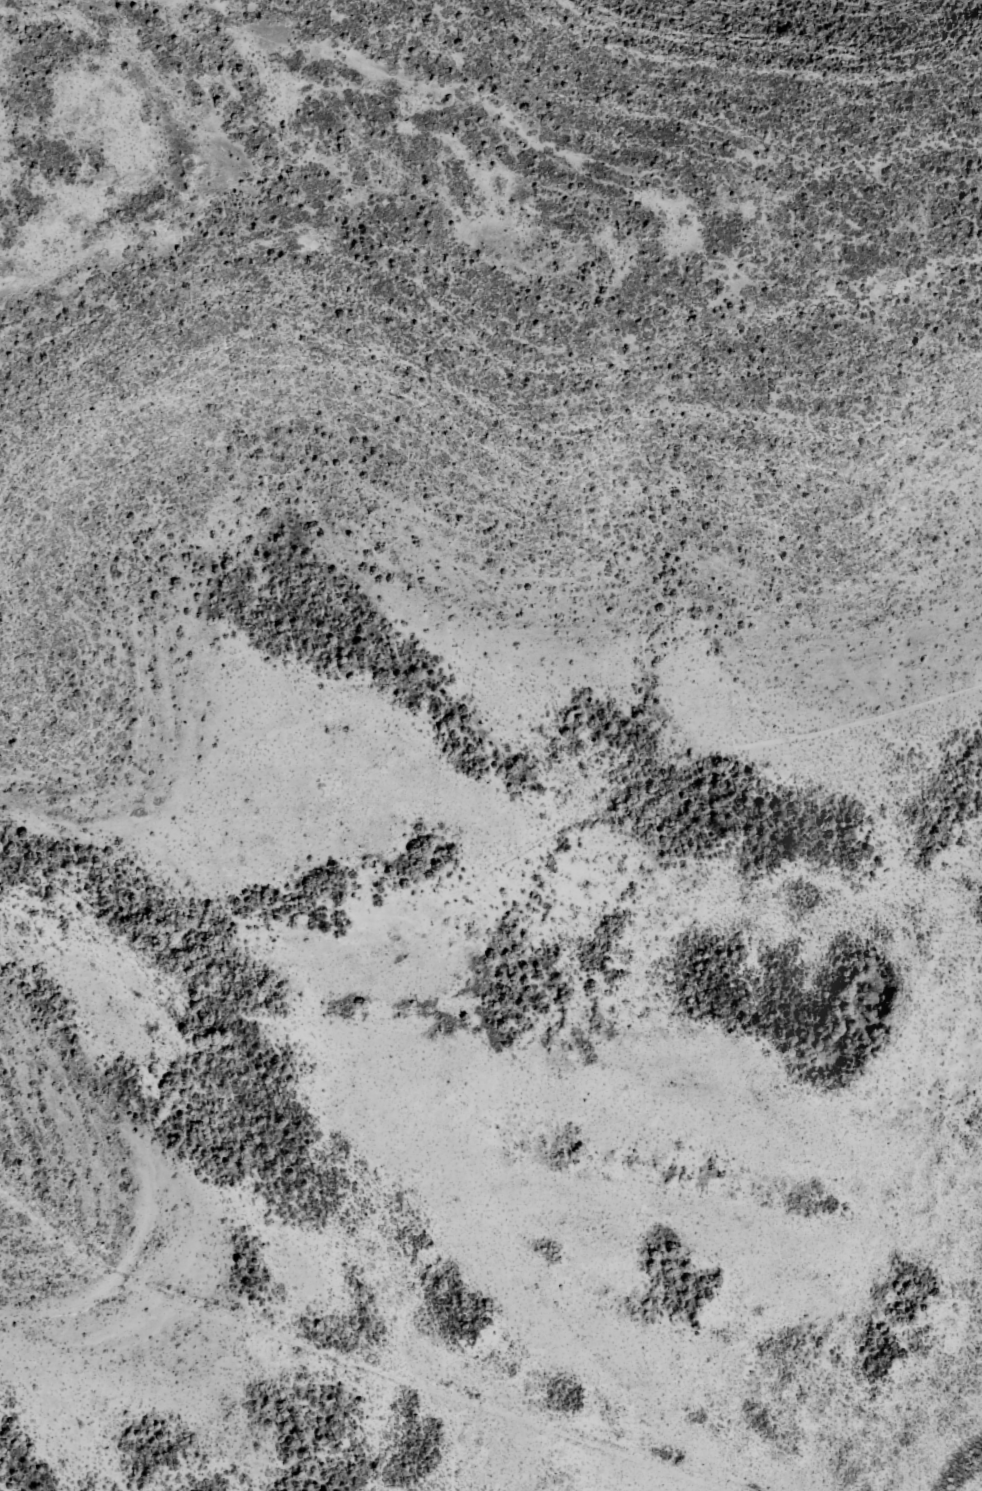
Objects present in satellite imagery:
road: (953, 1460)

